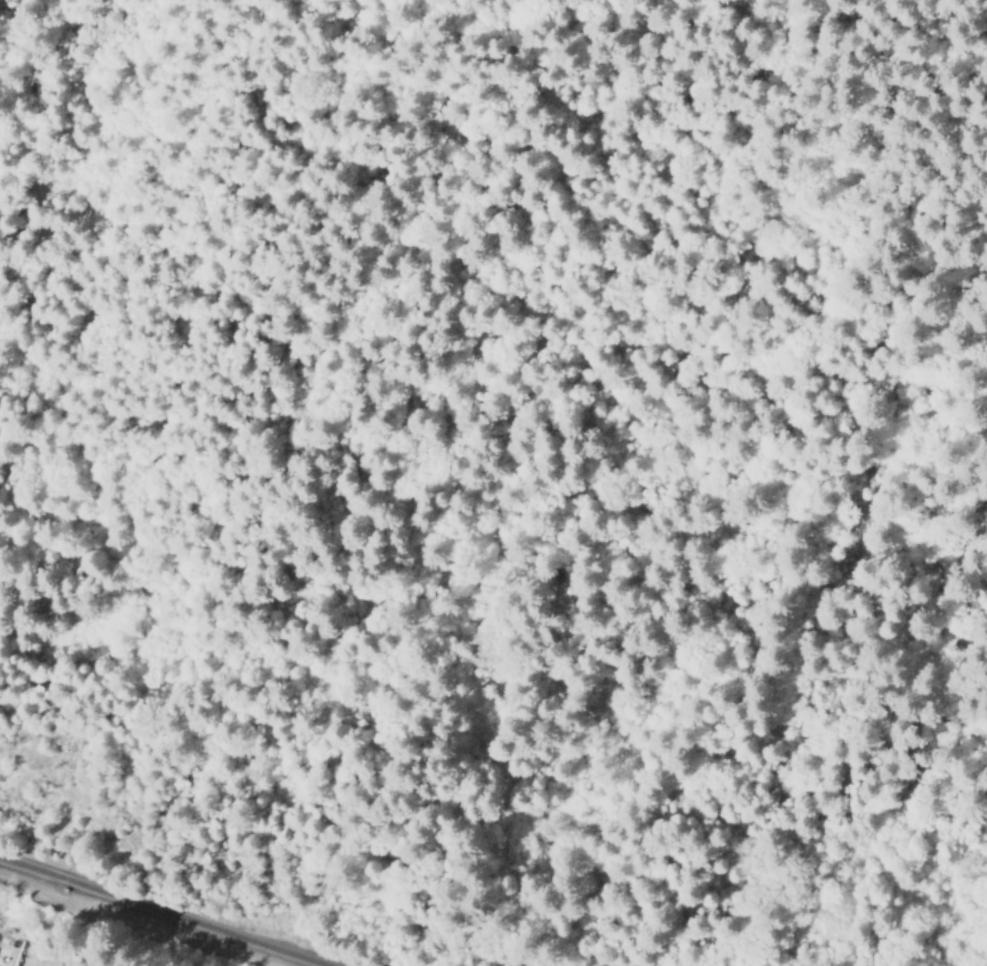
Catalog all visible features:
road: (482, 146)
road: (665, 276)
railway: (159, 913)

